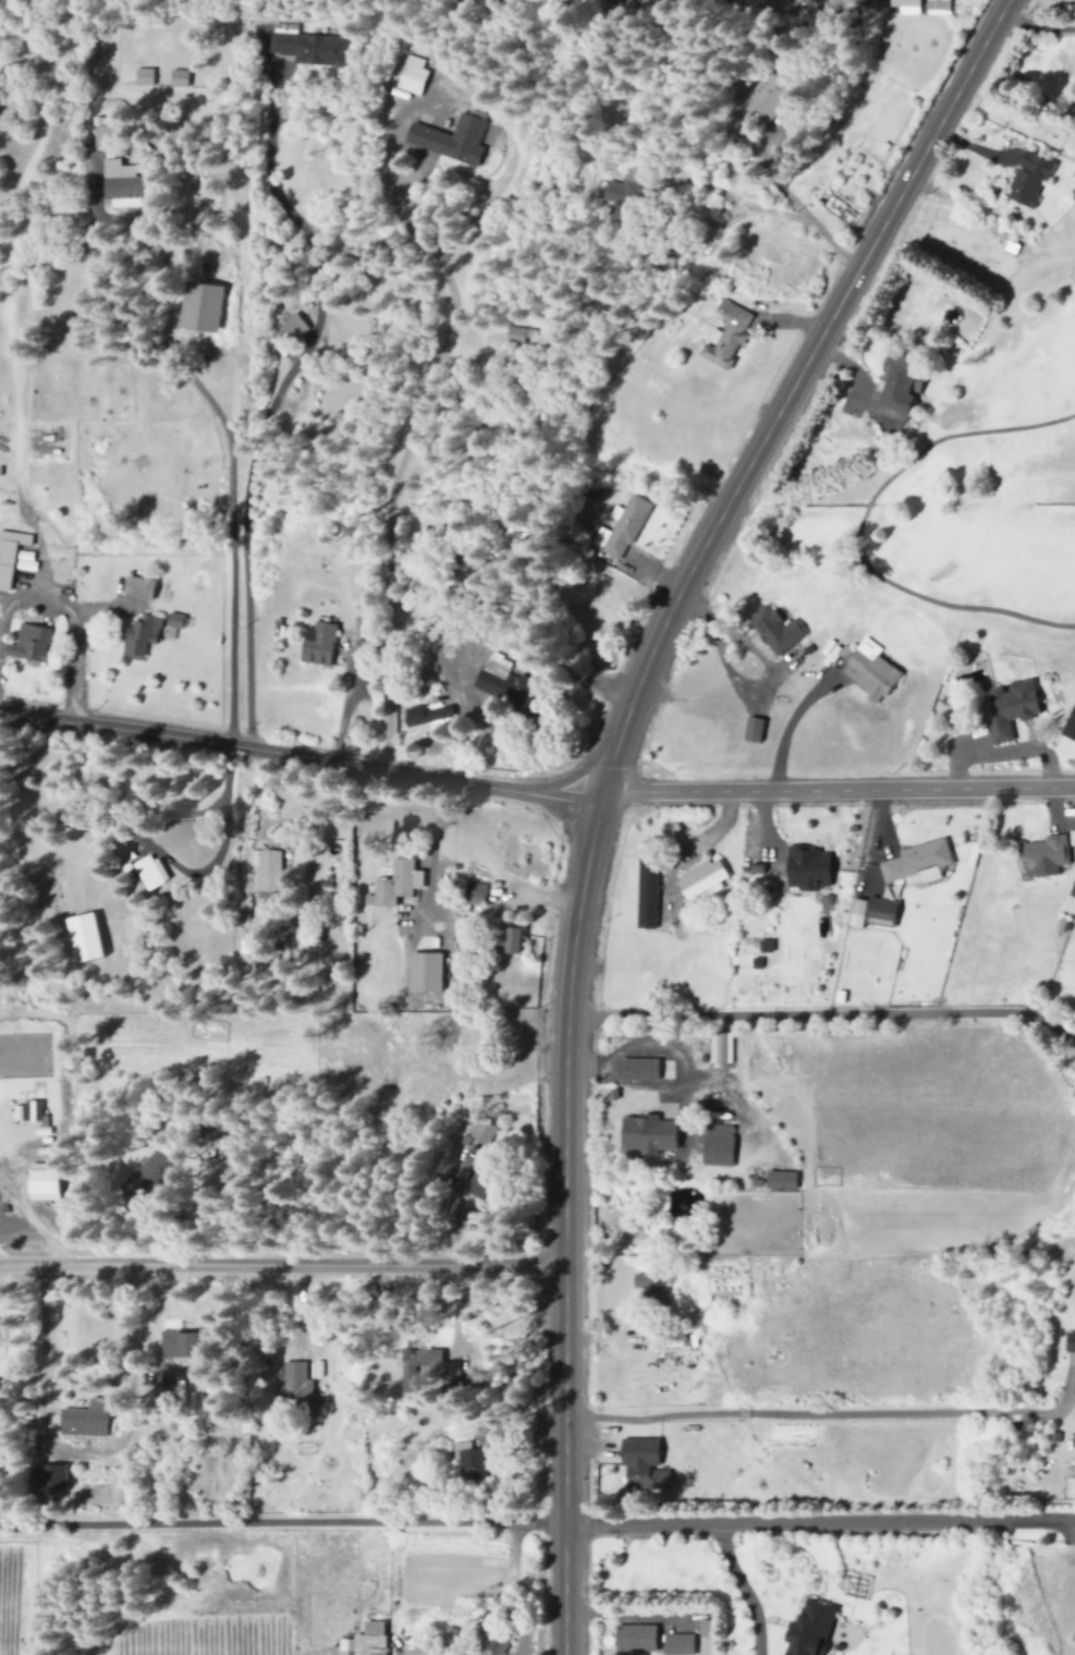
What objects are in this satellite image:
building: (633, 7)
building: (905, 7)
building: (936, 8)
building: (310, 48)
building: (411, 76)
building: (143, 77)
building: (765, 98)
building: (101, 134)
building: (449, 139)
building: (1026, 180)
building: (120, 185)
building: (621, 195)
building: (662, 266)
building: (199, 307)
building: (290, 329)
building: (520, 336)
building: (725, 336)
building: (119, 355)
building: (897, 385)
park: (945, 460)
building: (510, 526)
building: (621, 528)
building: (9, 556)
building: (137, 588)
building: (173, 621)
building: (772, 631)
building: (137, 637)
building: (317, 644)
building: (28, 645)
building: (869, 673)
building: (502, 683)
building: (1009, 708)
building: (424, 716)
building: (1068, 726)
road: (300, 754)
road: (607, 781)
road: (838, 794)
building: (1071, 838)
building: (123, 855)
building: (1042, 855)
building: (916, 863)
building: (804, 869)
building: (149, 873)
building: (267, 873)
building: (700, 879)
building: (394, 885)
building: (474, 892)
building: (645, 892)
building: (871, 912)
building: (83, 939)
building: (505, 940)
building: (424, 973)
building: (720, 1047)
building: (637, 1069)
building: (479, 1132)
building: (646, 1135)
building: (716, 1145)
building: (146, 1177)
building: (779, 1180)
building: (41, 1181)
road: (282, 1265)
building: (649, 1289)
building: (1070, 1342)
building: (178, 1343)
building: (407, 1374)
building: (295, 1385)
building: (84, 1420)
building: (468, 1463)
building: (640, 1465)
building: (47, 1477)
road: (818, 1523)
building: (808, 1628)
building: (634, 1639)
building: (362, 1641)
building: (491, 1642)
building: (677, 1644)

